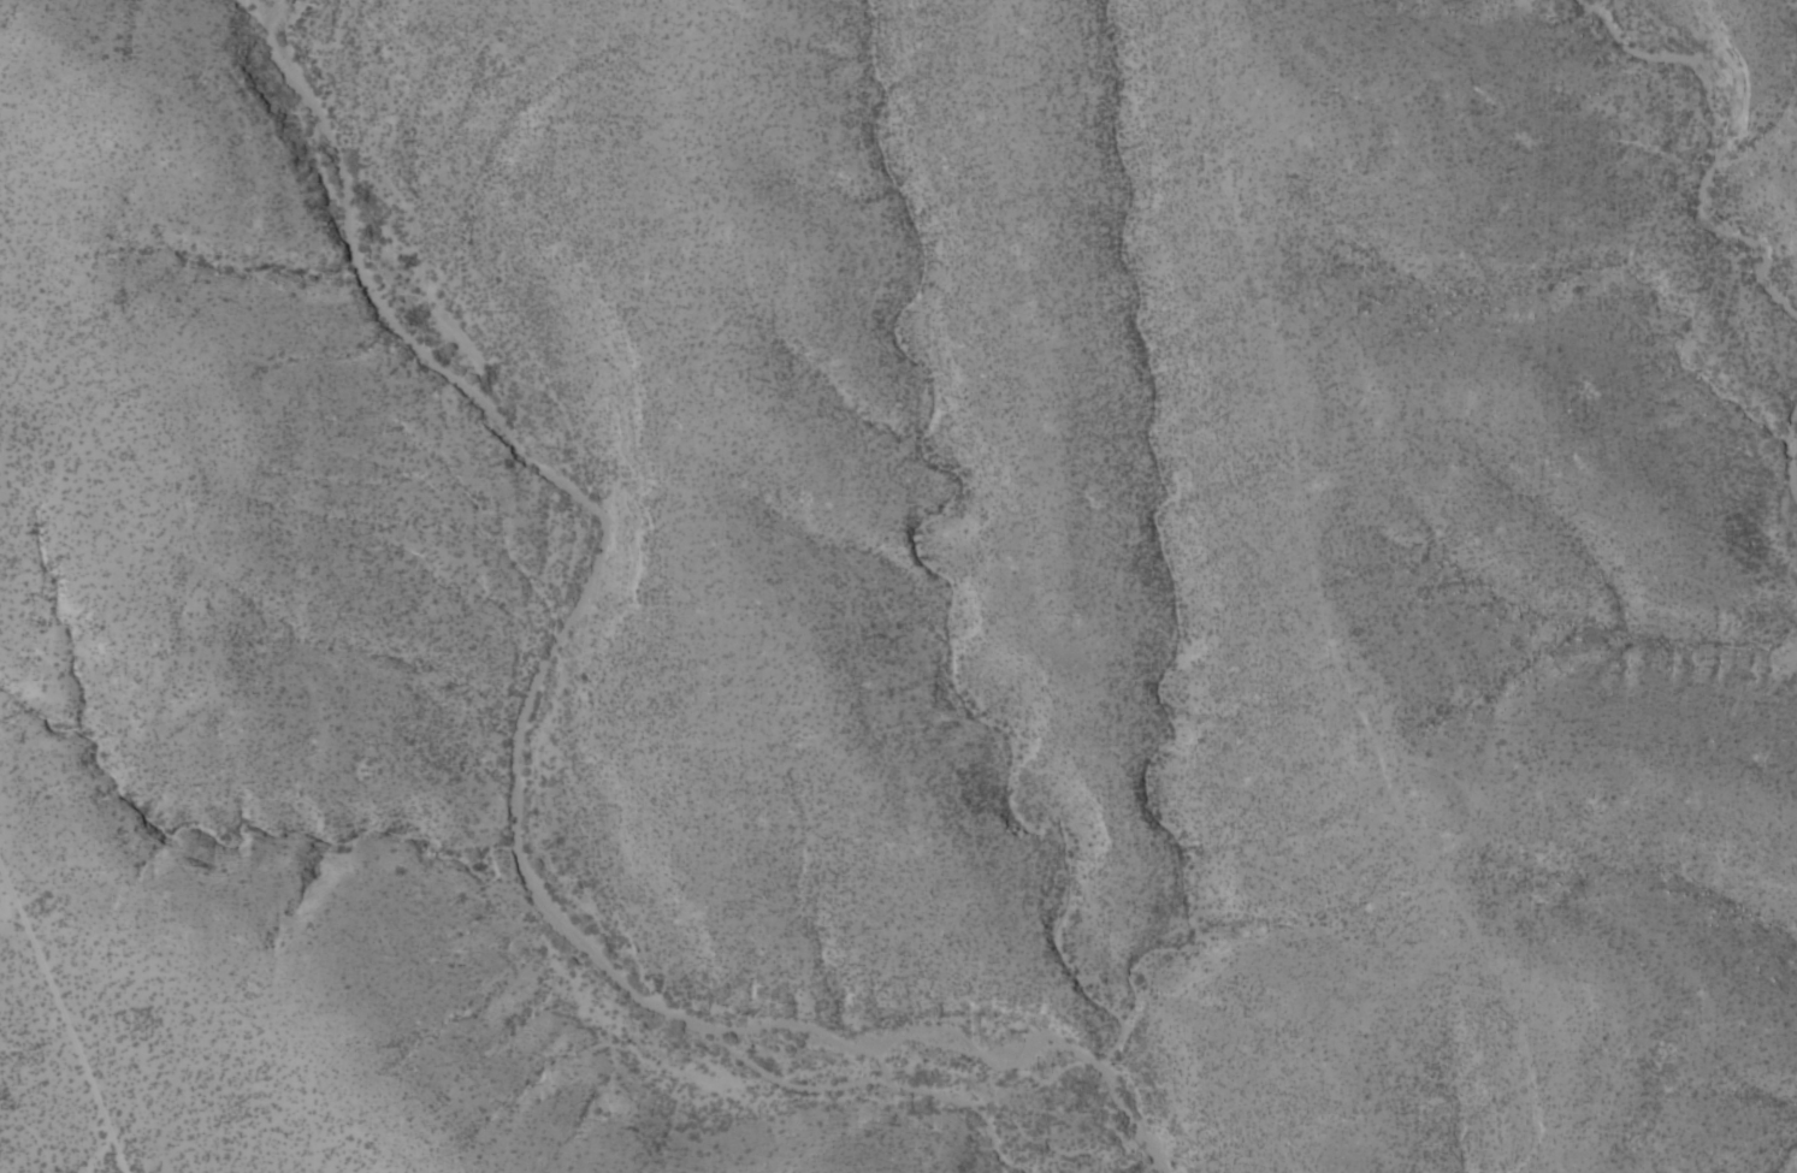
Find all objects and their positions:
road: (65, 1023)

